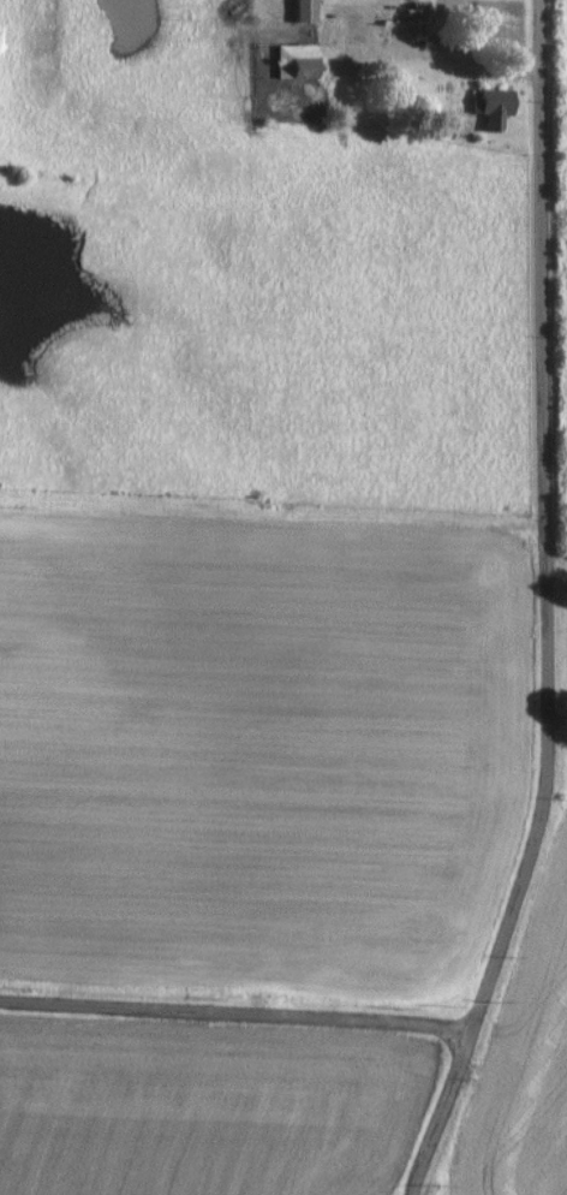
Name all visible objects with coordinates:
building: (300, 10)
road: (386, 31)
building: (292, 60)
building: (490, 106)
road: (561, 581)
road: (555, 608)
road: (562, 719)
road: (238, 1005)

